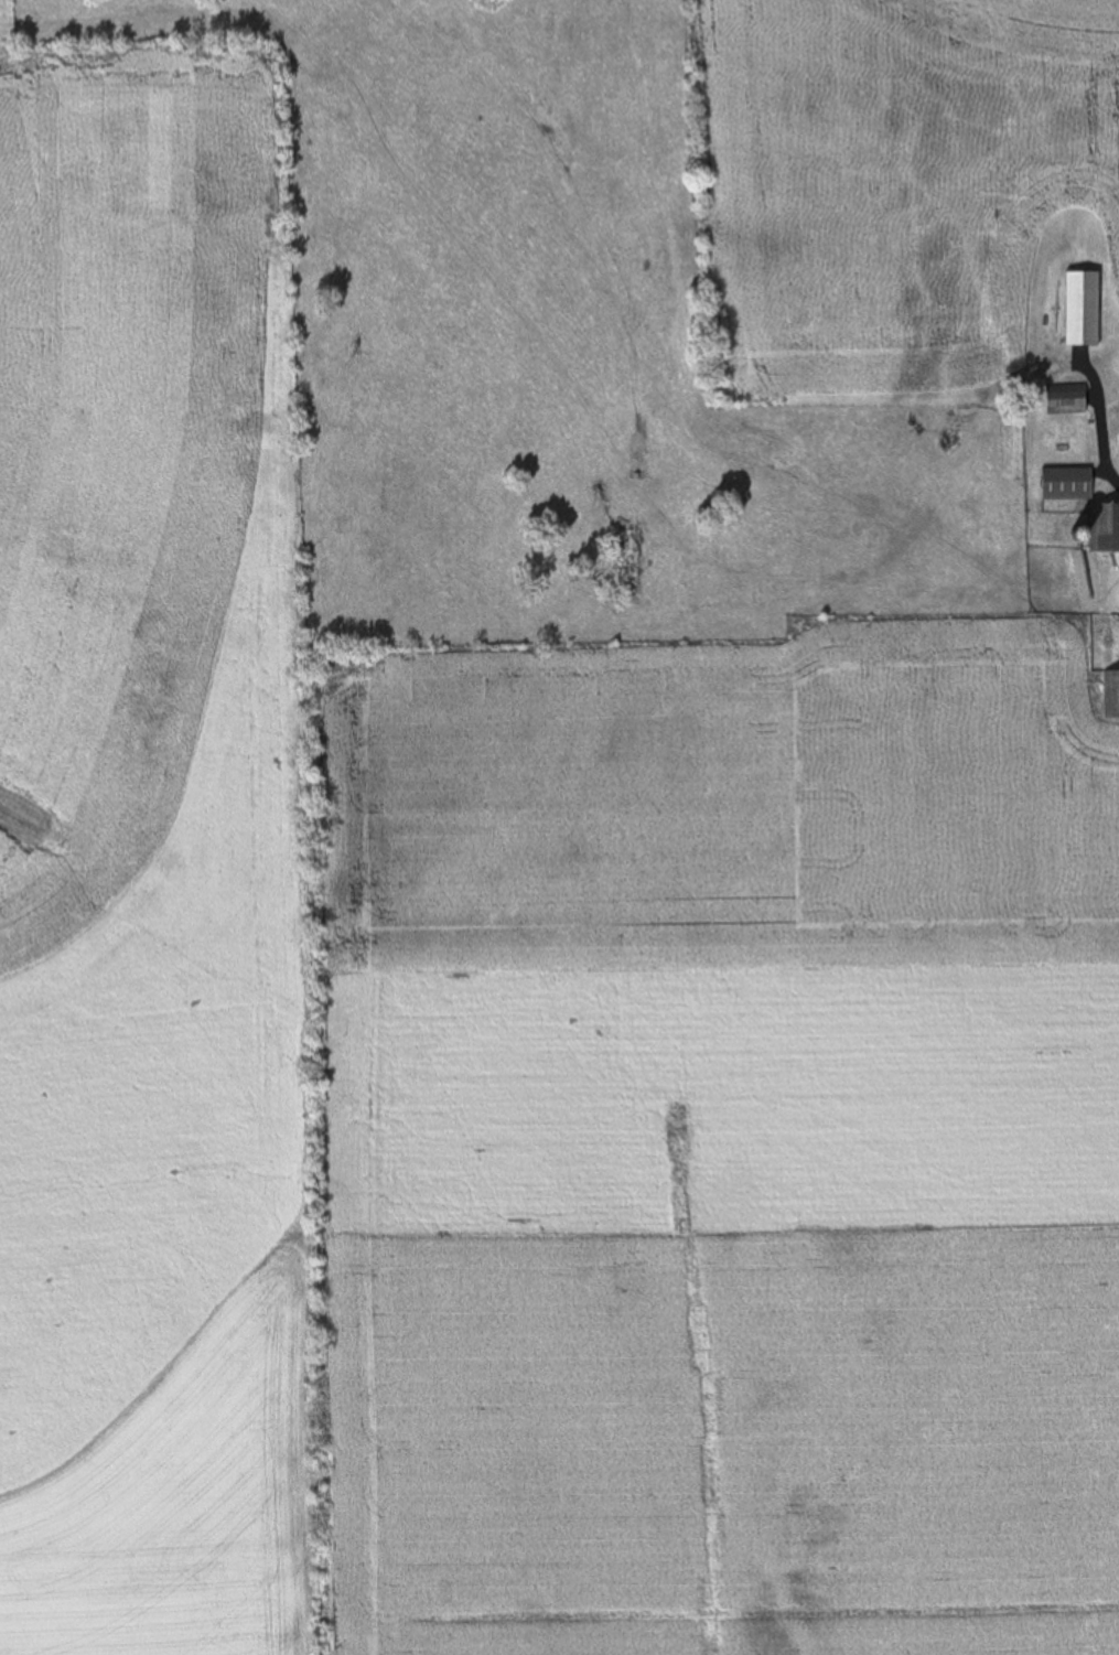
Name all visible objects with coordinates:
building: (1083, 310)
building: (1066, 400)
road: (1101, 427)
building: (1067, 485)
building: (1105, 529)
building: (1111, 696)

